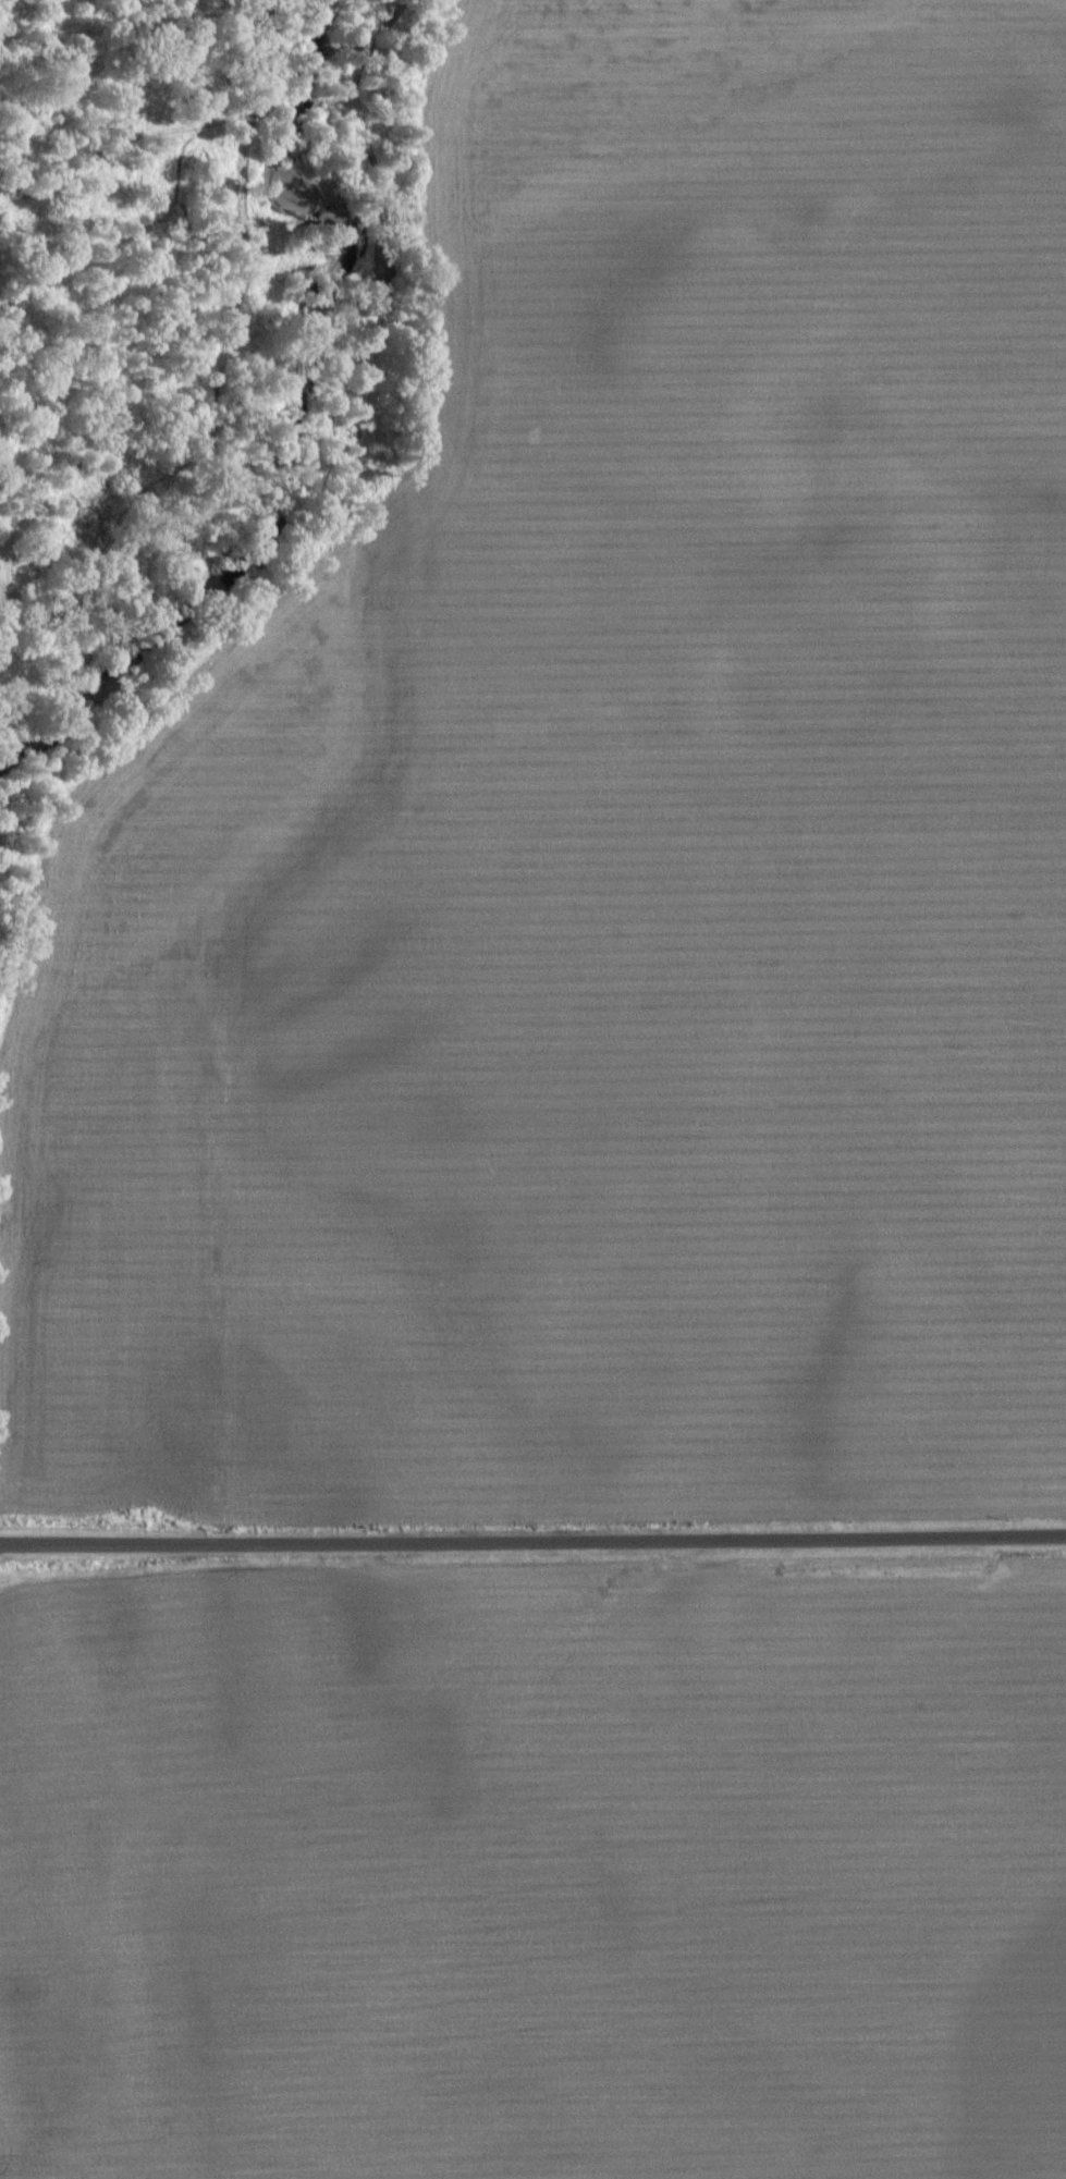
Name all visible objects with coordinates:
road: (532, 1539)

